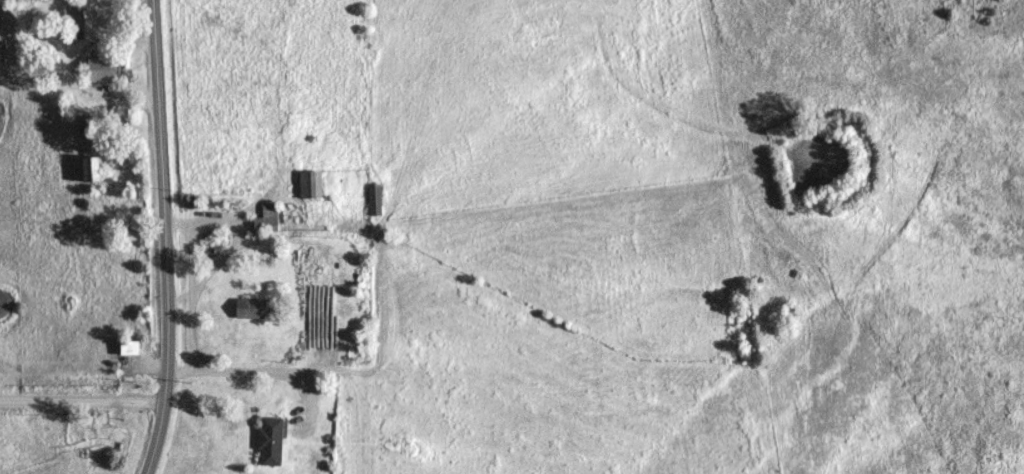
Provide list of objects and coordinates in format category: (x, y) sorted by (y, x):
building: (91, 170)
building: (311, 185)
building: (375, 200)
building: (267, 219)
road: (162, 237)
building: (253, 309)
building: (130, 348)
road: (82, 404)
building: (271, 442)

